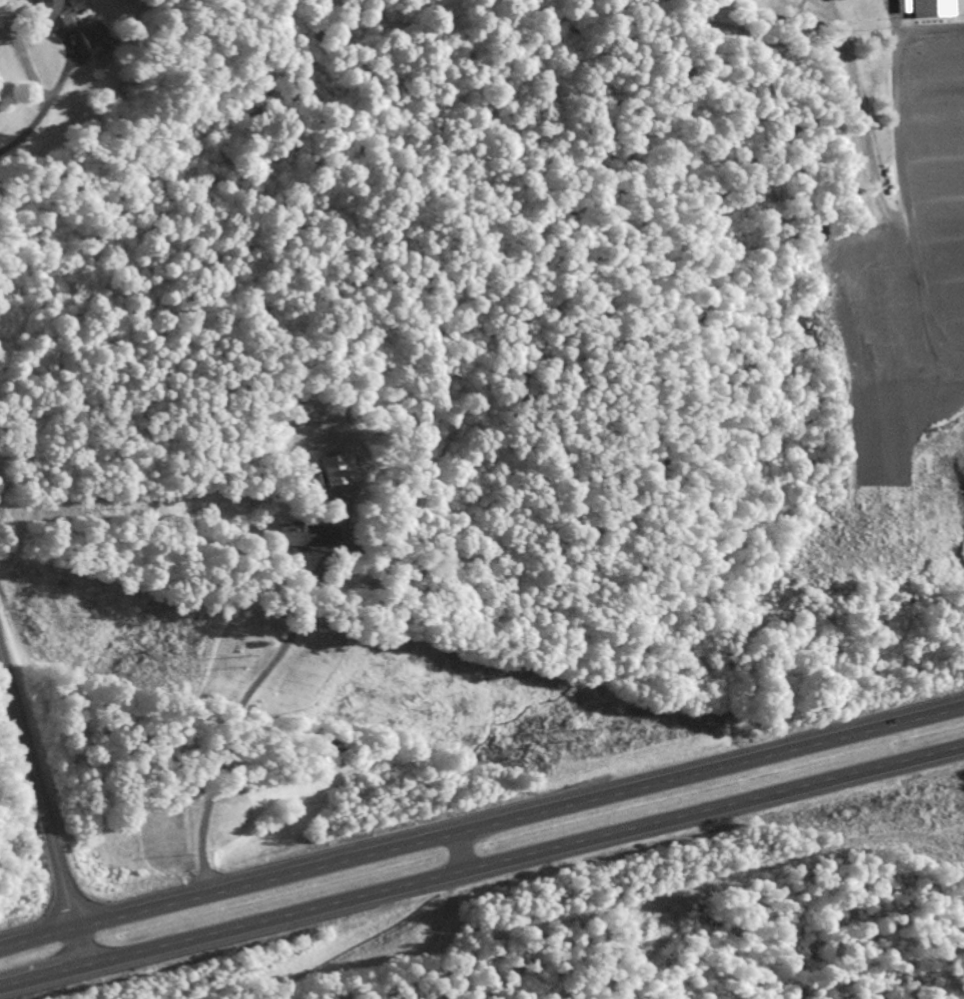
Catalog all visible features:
building: (902, 5)
building: (51, 16)
building: (86, 38)
road: (928, 61)
road: (930, 96)
road: (933, 138)
road: (906, 175)
water park: (874, 178)
road: (935, 179)
road: (937, 216)
road: (940, 256)
road: (943, 298)
parking lot: (891, 317)
building: (336, 467)
building: (298, 537)
power tower: (244, 659)
power tower: (562, 729)
road: (42, 813)
road: (481, 827)
road: (482, 869)

